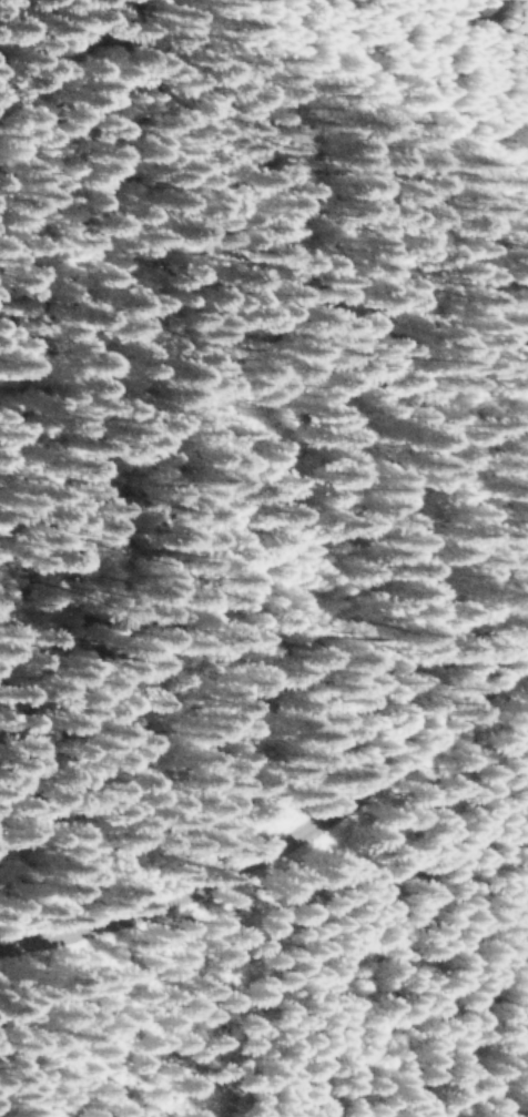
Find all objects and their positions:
road: (287, 839)

